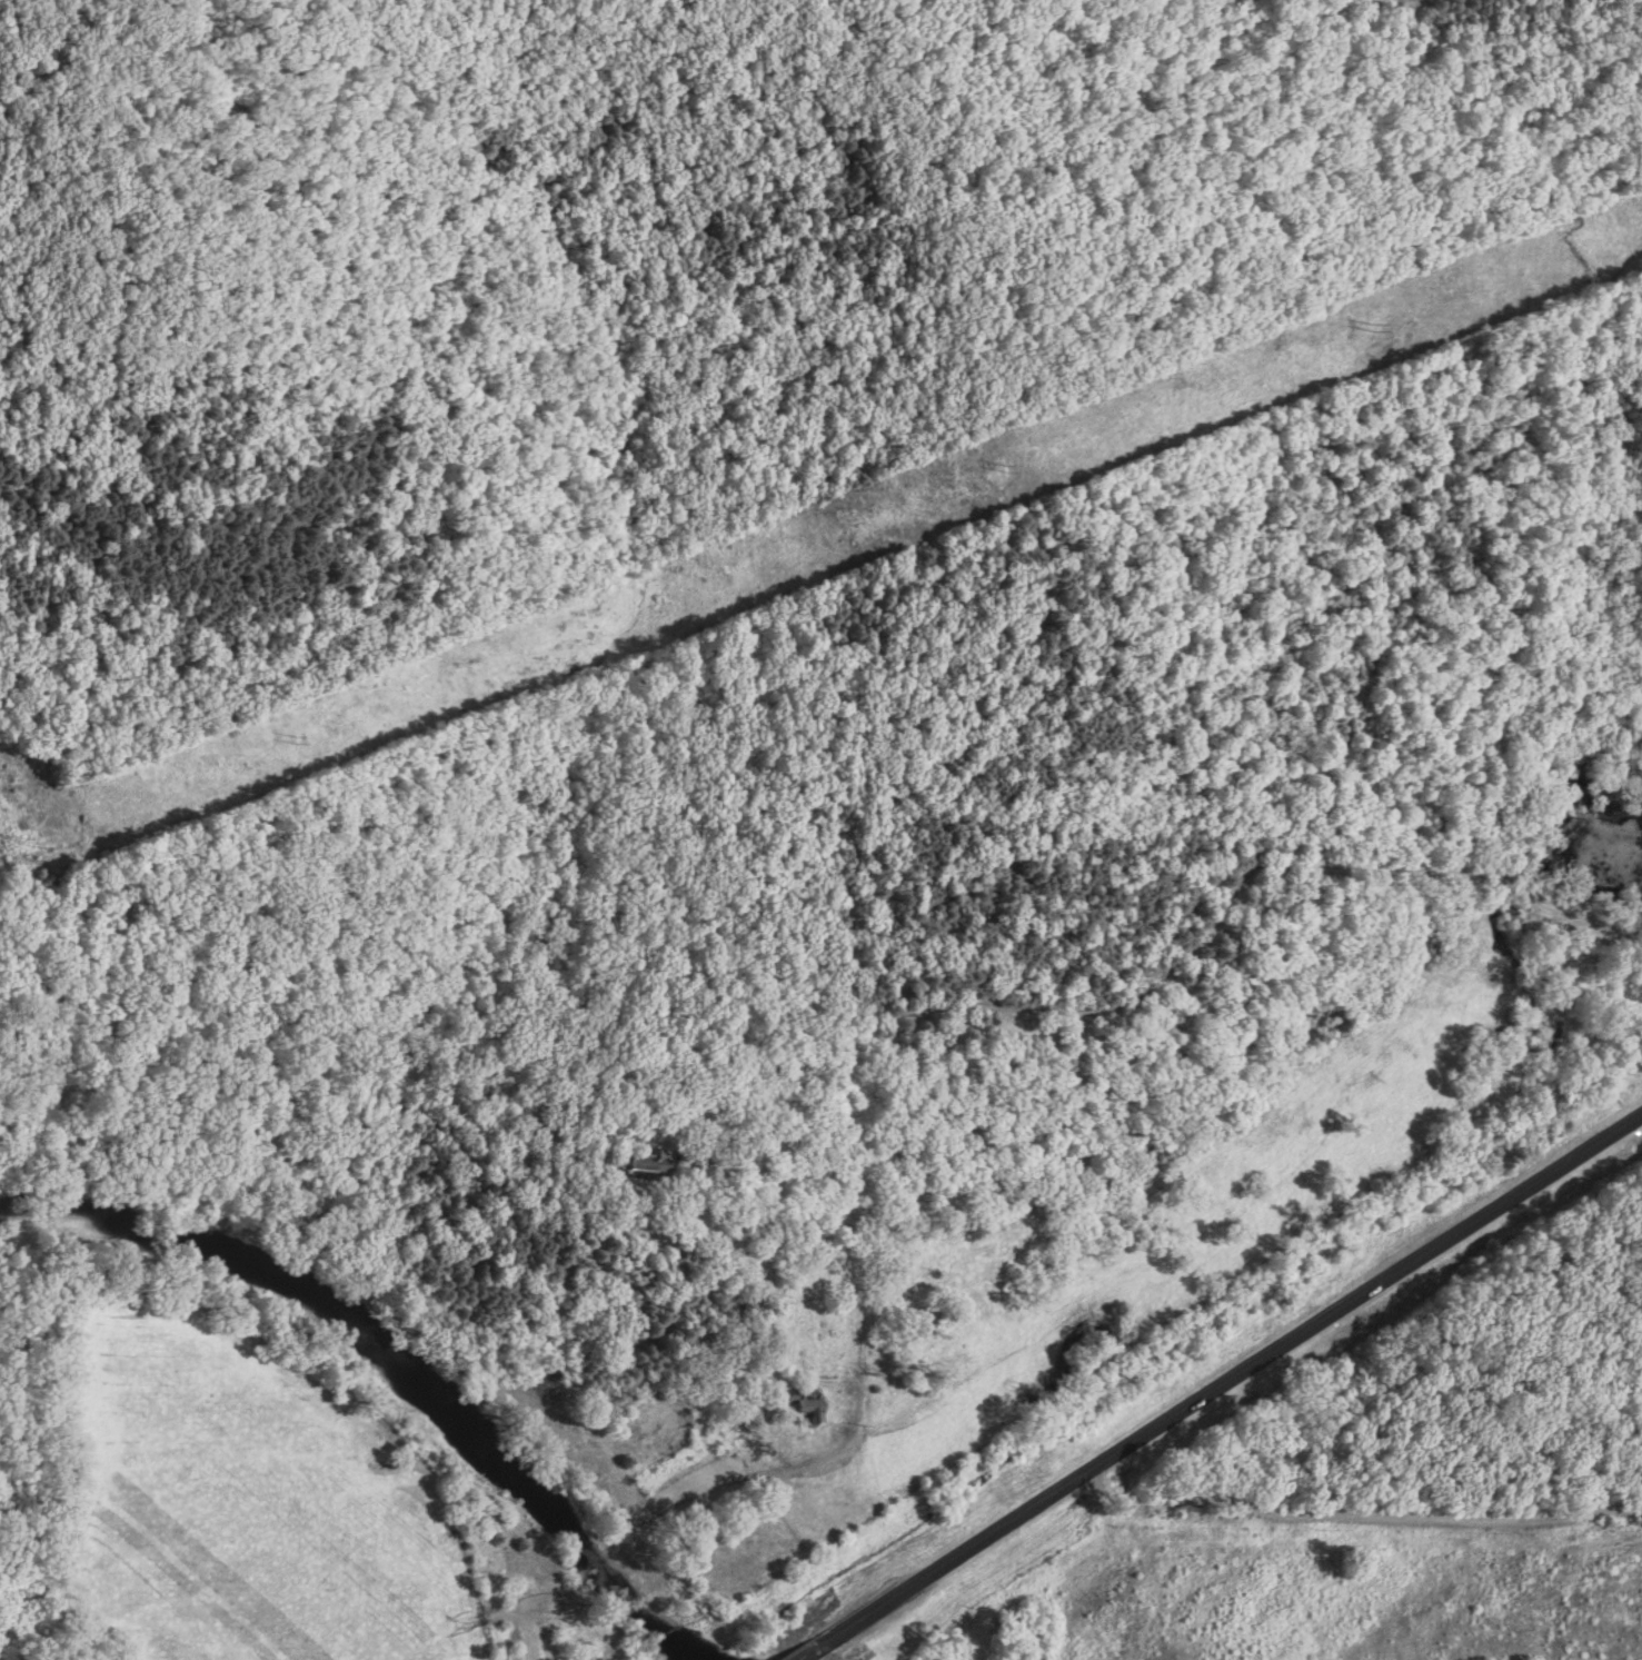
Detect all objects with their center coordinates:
power tower: (1380, 328)
power tower: (1006, 471)
power tower: (303, 736)
power tower: (29, 843)
road: (1182, 963)
road: (1217, 1391)
road: (959, 1414)

